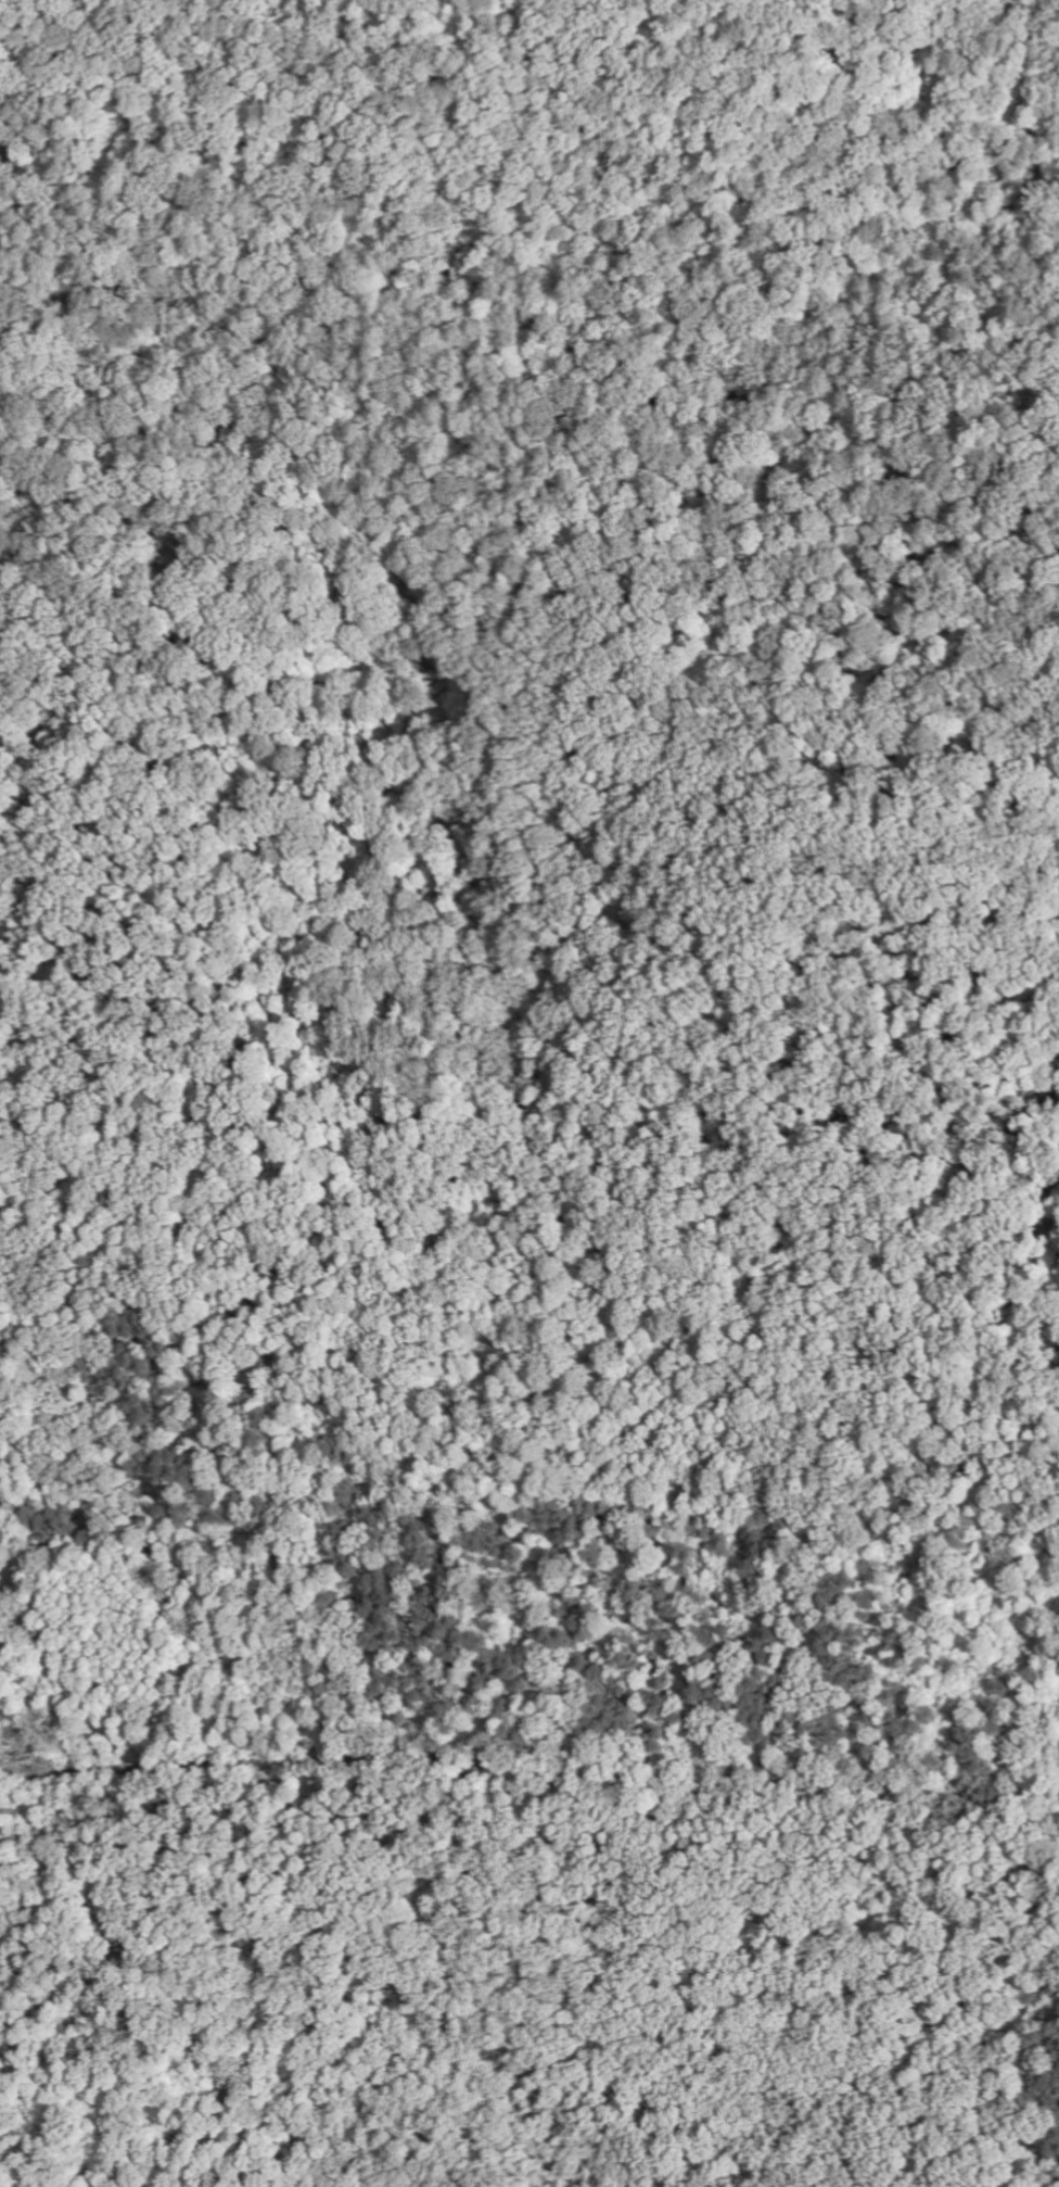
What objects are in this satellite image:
road: (532, 1778)

